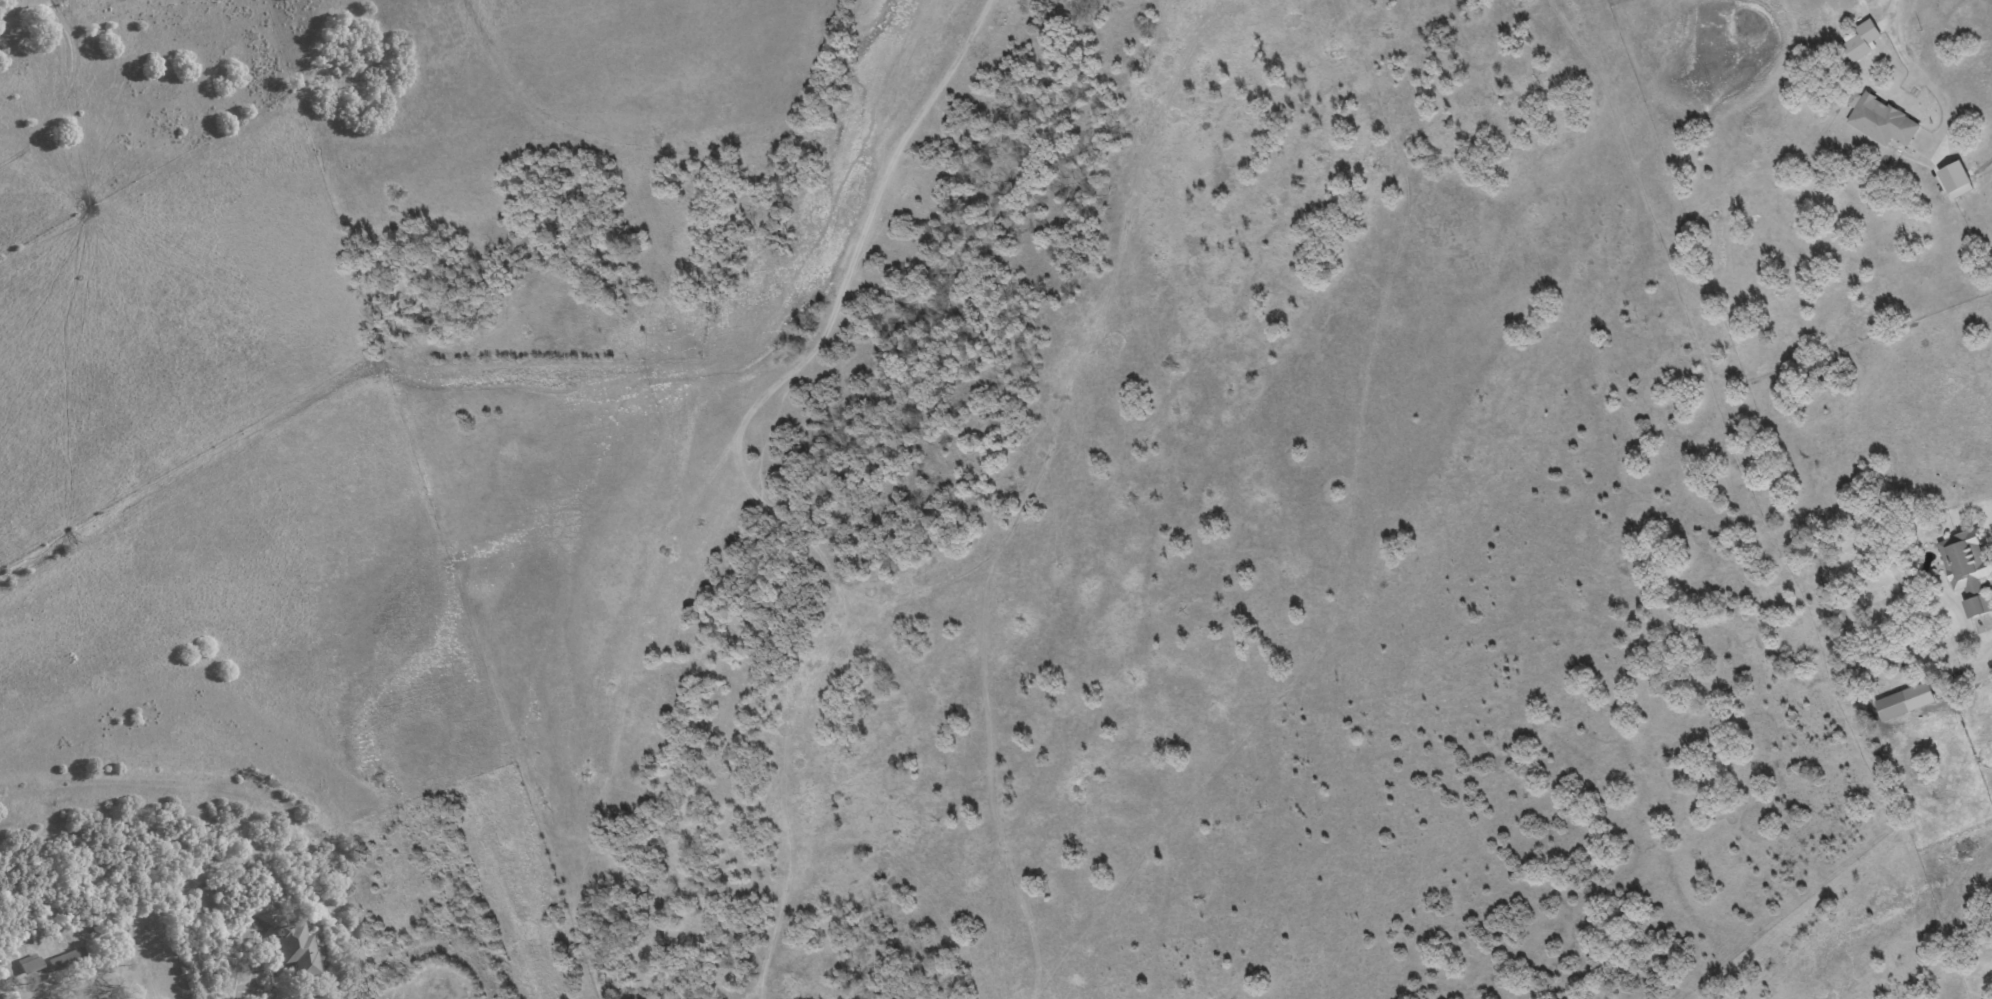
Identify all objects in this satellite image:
road: (1893, 43)
building: (1880, 120)
building: (1967, 569)
building: (1904, 701)
airport runway: (510, 897)
building: (287, 940)
building: (66, 959)
building: (30, 962)
road: (241, 984)
road: (27, 994)

